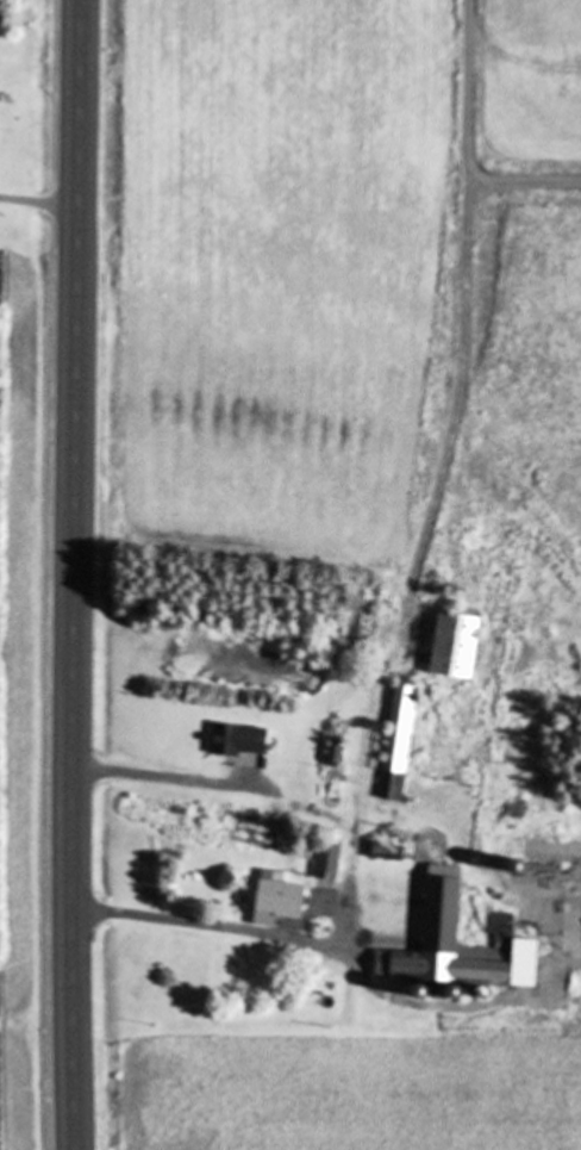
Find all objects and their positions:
road: (468, 149)
road: (38, 199)
road: (420, 562)
road: (73, 574)
building: (364, 616)
building: (460, 645)
building: (242, 740)
building: (402, 742)
road: (161, 777)
building: (331, 862)
building: (285, 901)
building: (445, 922)
road: (182, 924)

